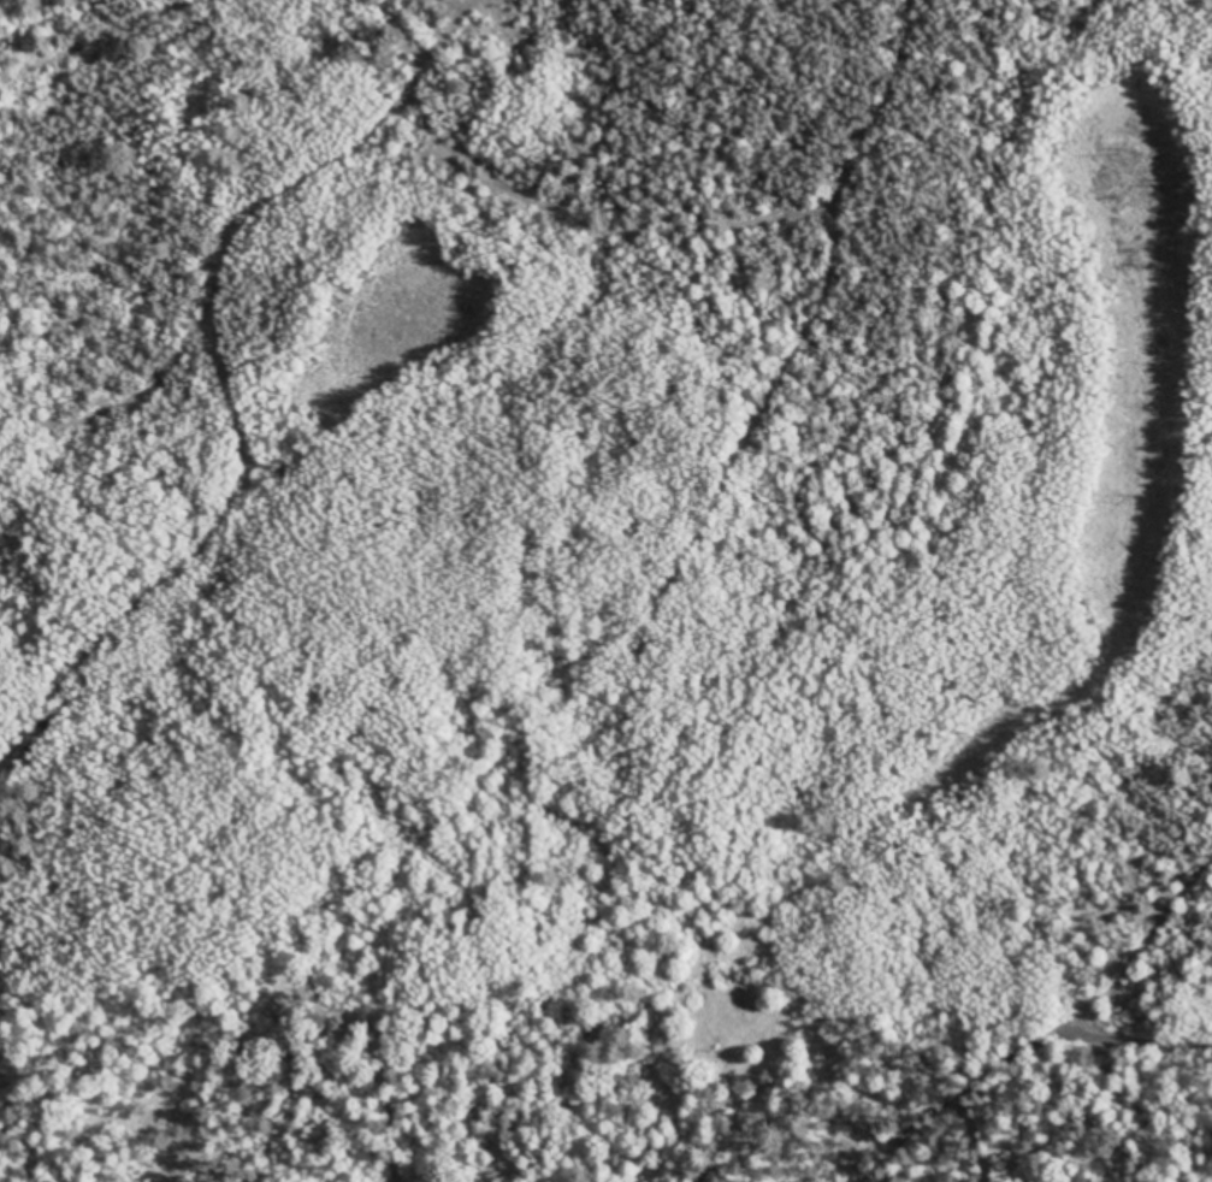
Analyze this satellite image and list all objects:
road: (1012, 995)

